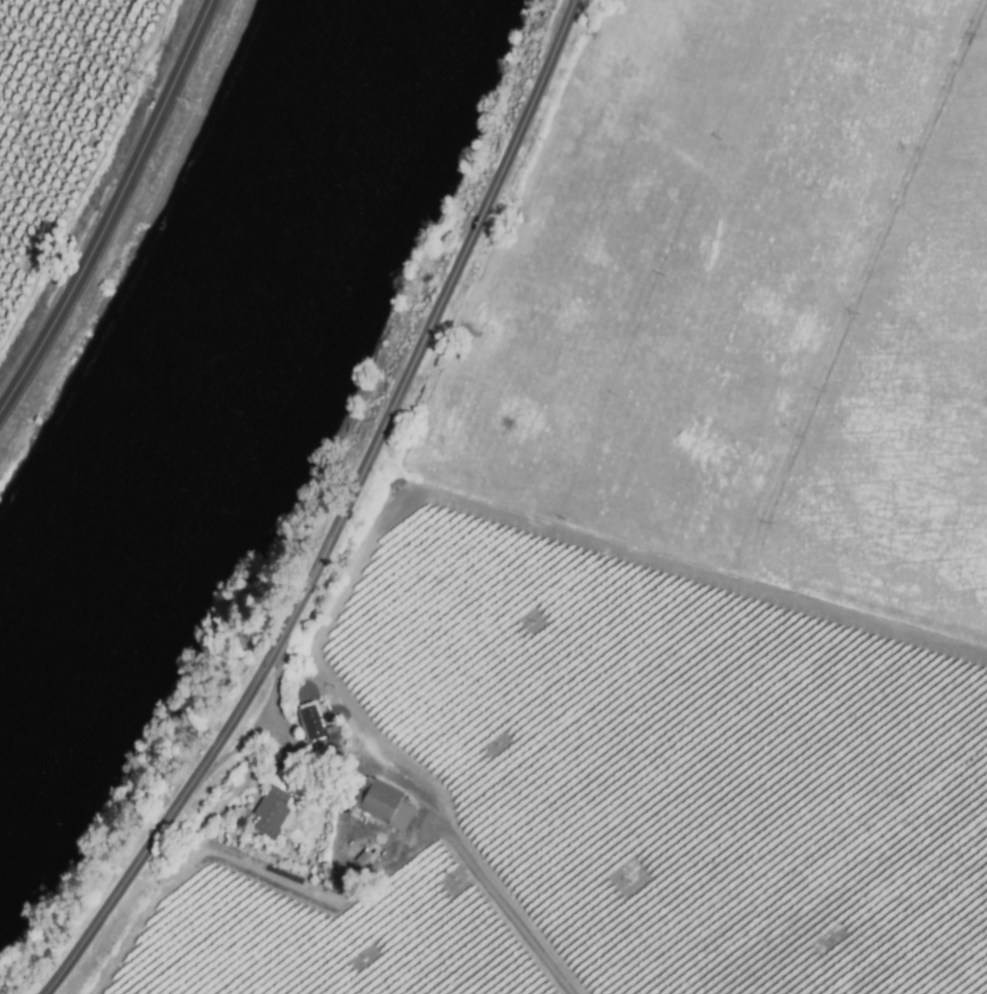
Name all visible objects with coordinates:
crop: (74, 151)
road: (111, 208)
river: (218, 364)
road: (346, 515)
crop: (633, 565)
road: (271, 693)
building: (305, 724)
road: (321, 747)
building: (382, 803)
building: (272, 812)
road: (504, 905)

